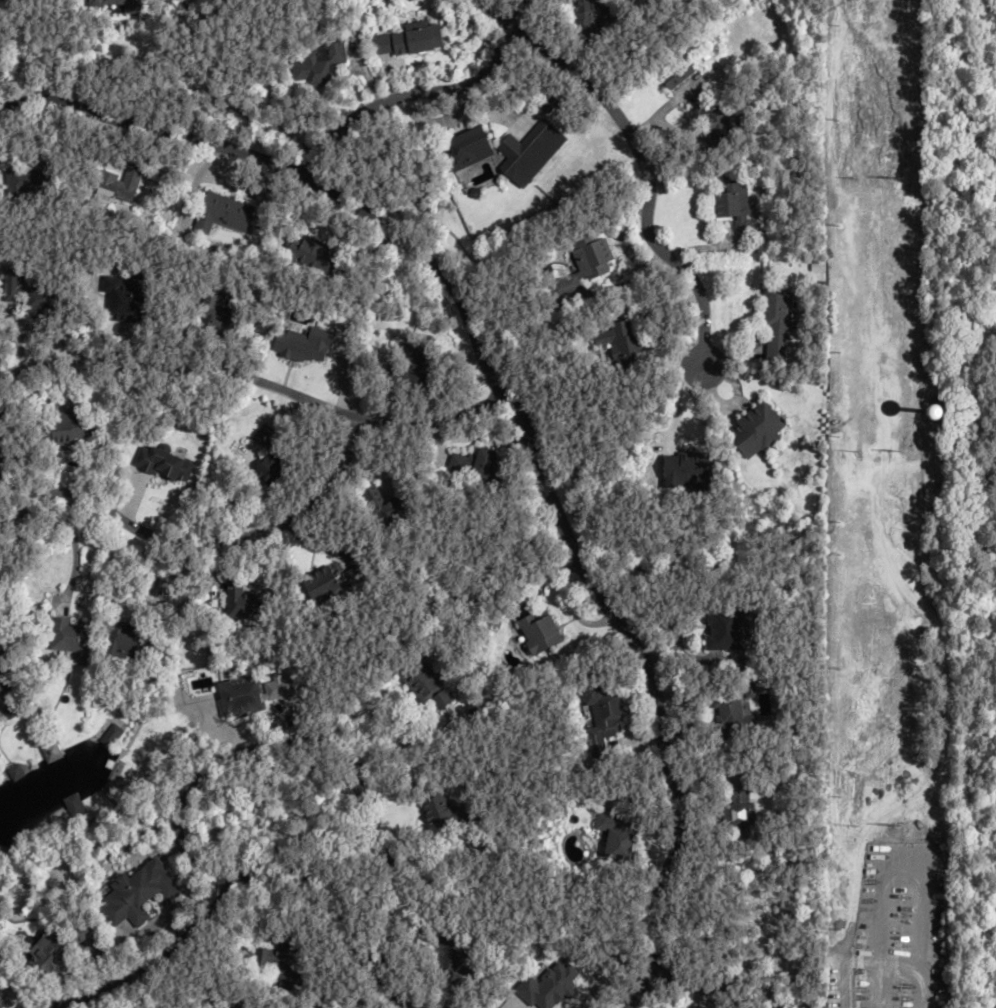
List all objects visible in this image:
building: (119, 5)
road: (495, 11)
building: (587, 16)
building: (419, 39)
building: (317, 63)
building: (676, 74)
road: (421, 94)
building: (717, 124)
building: (469, 149)
building: (531, 152)
road: (644, 179)
power tower: (894, 179)
building: (25, 183)
building: (120, 183)
building: (735, 202)
building: (224, 214)
building: (314, 255)
building: (585, 266)
building: (128, 298)
building: (37, 300)
building: (220, 315)
building: (779, 322)
building: (623, 342)
building: (416, 365)
road: (255, 380)
road: (514, 415)
building: (760, 427)
building: (64, 429)
power tower: (891, 450)
building: (2, 459)
building: (164, 464)
building: (478, 465)
building: (275, 467)
building: (684, 468)
building: (385, 505)
road: (203, 536)
road: (75, 550)
building: (326, 583)
building: (246, 602)
building: (724, 627)
building: (540, 632)
building: (72, 637)
building: (130, 637)
building: (7, 678)
building: (419, 684)
building: (244, 694)
building: (441, 699)
building: (729, 713)
building: (603, 719)
building: (112, 736)
building: (52, 752)
building: (74, 805)
building: (738, 806)
building: (442, 812)
power tower: (895, 825)
road: (286, 833)
building: (617, 835)
building: (141, 893)
road: (297, 936)
building: (49, 950)
building: (448, 955)
building: (282, 961)
road: (742, 967)
building: (542, 988)
building: (2, 1001)
building: (336, 1003)
building: (805, 1003)

